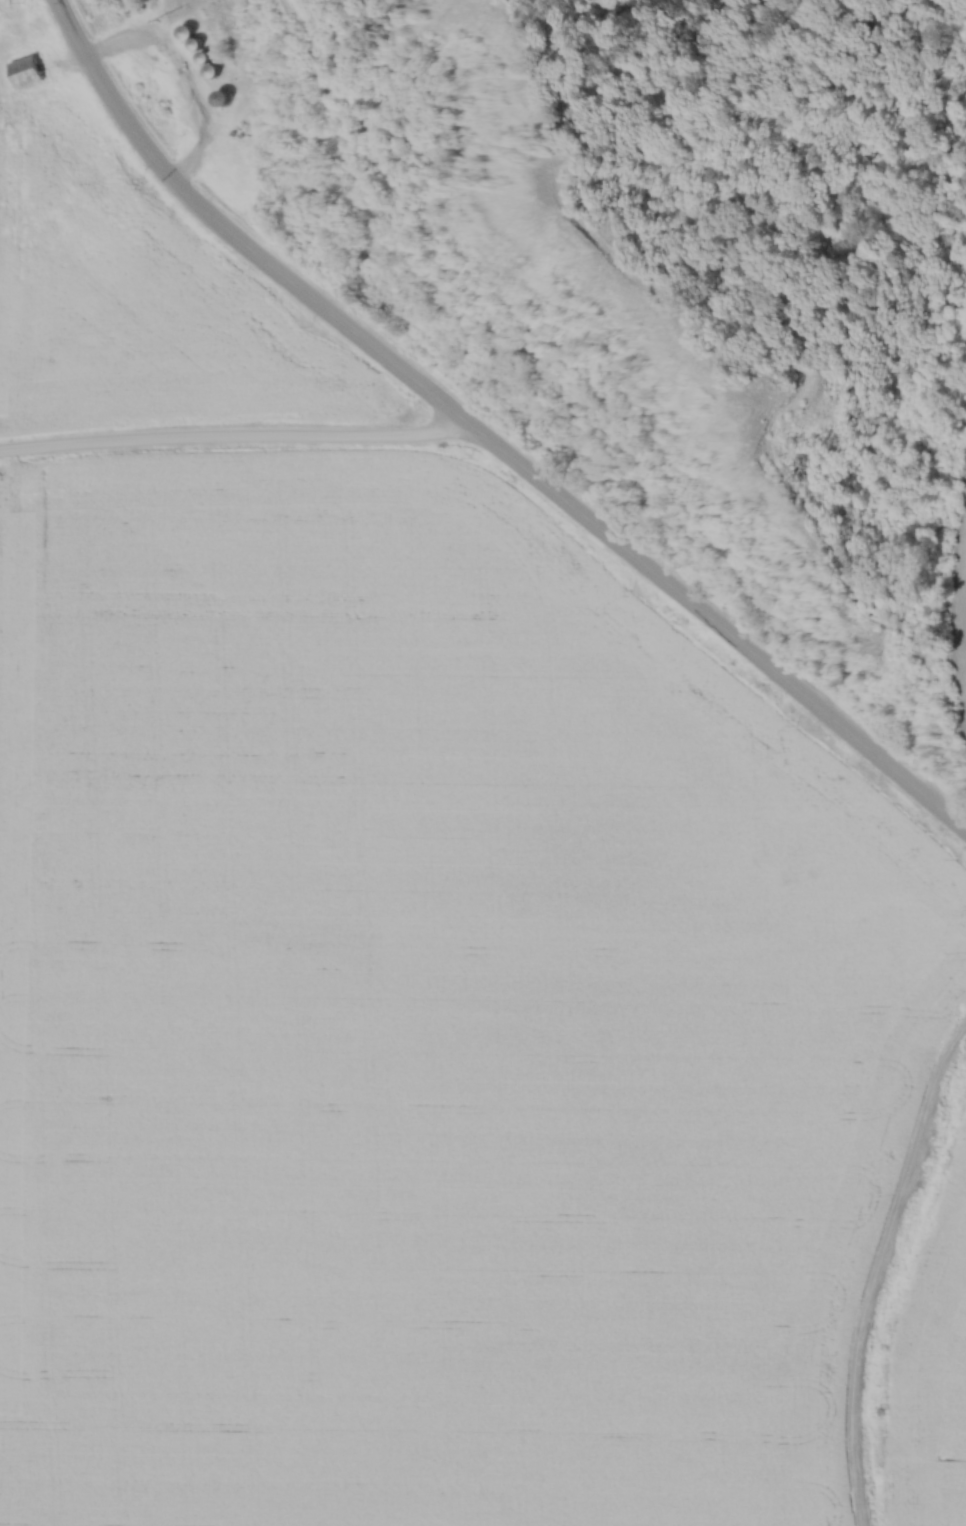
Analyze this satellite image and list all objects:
building: (186, 31)
building: (26, 70)
building: (213, 70)
road: (225, 434)
road: (481, 441)

